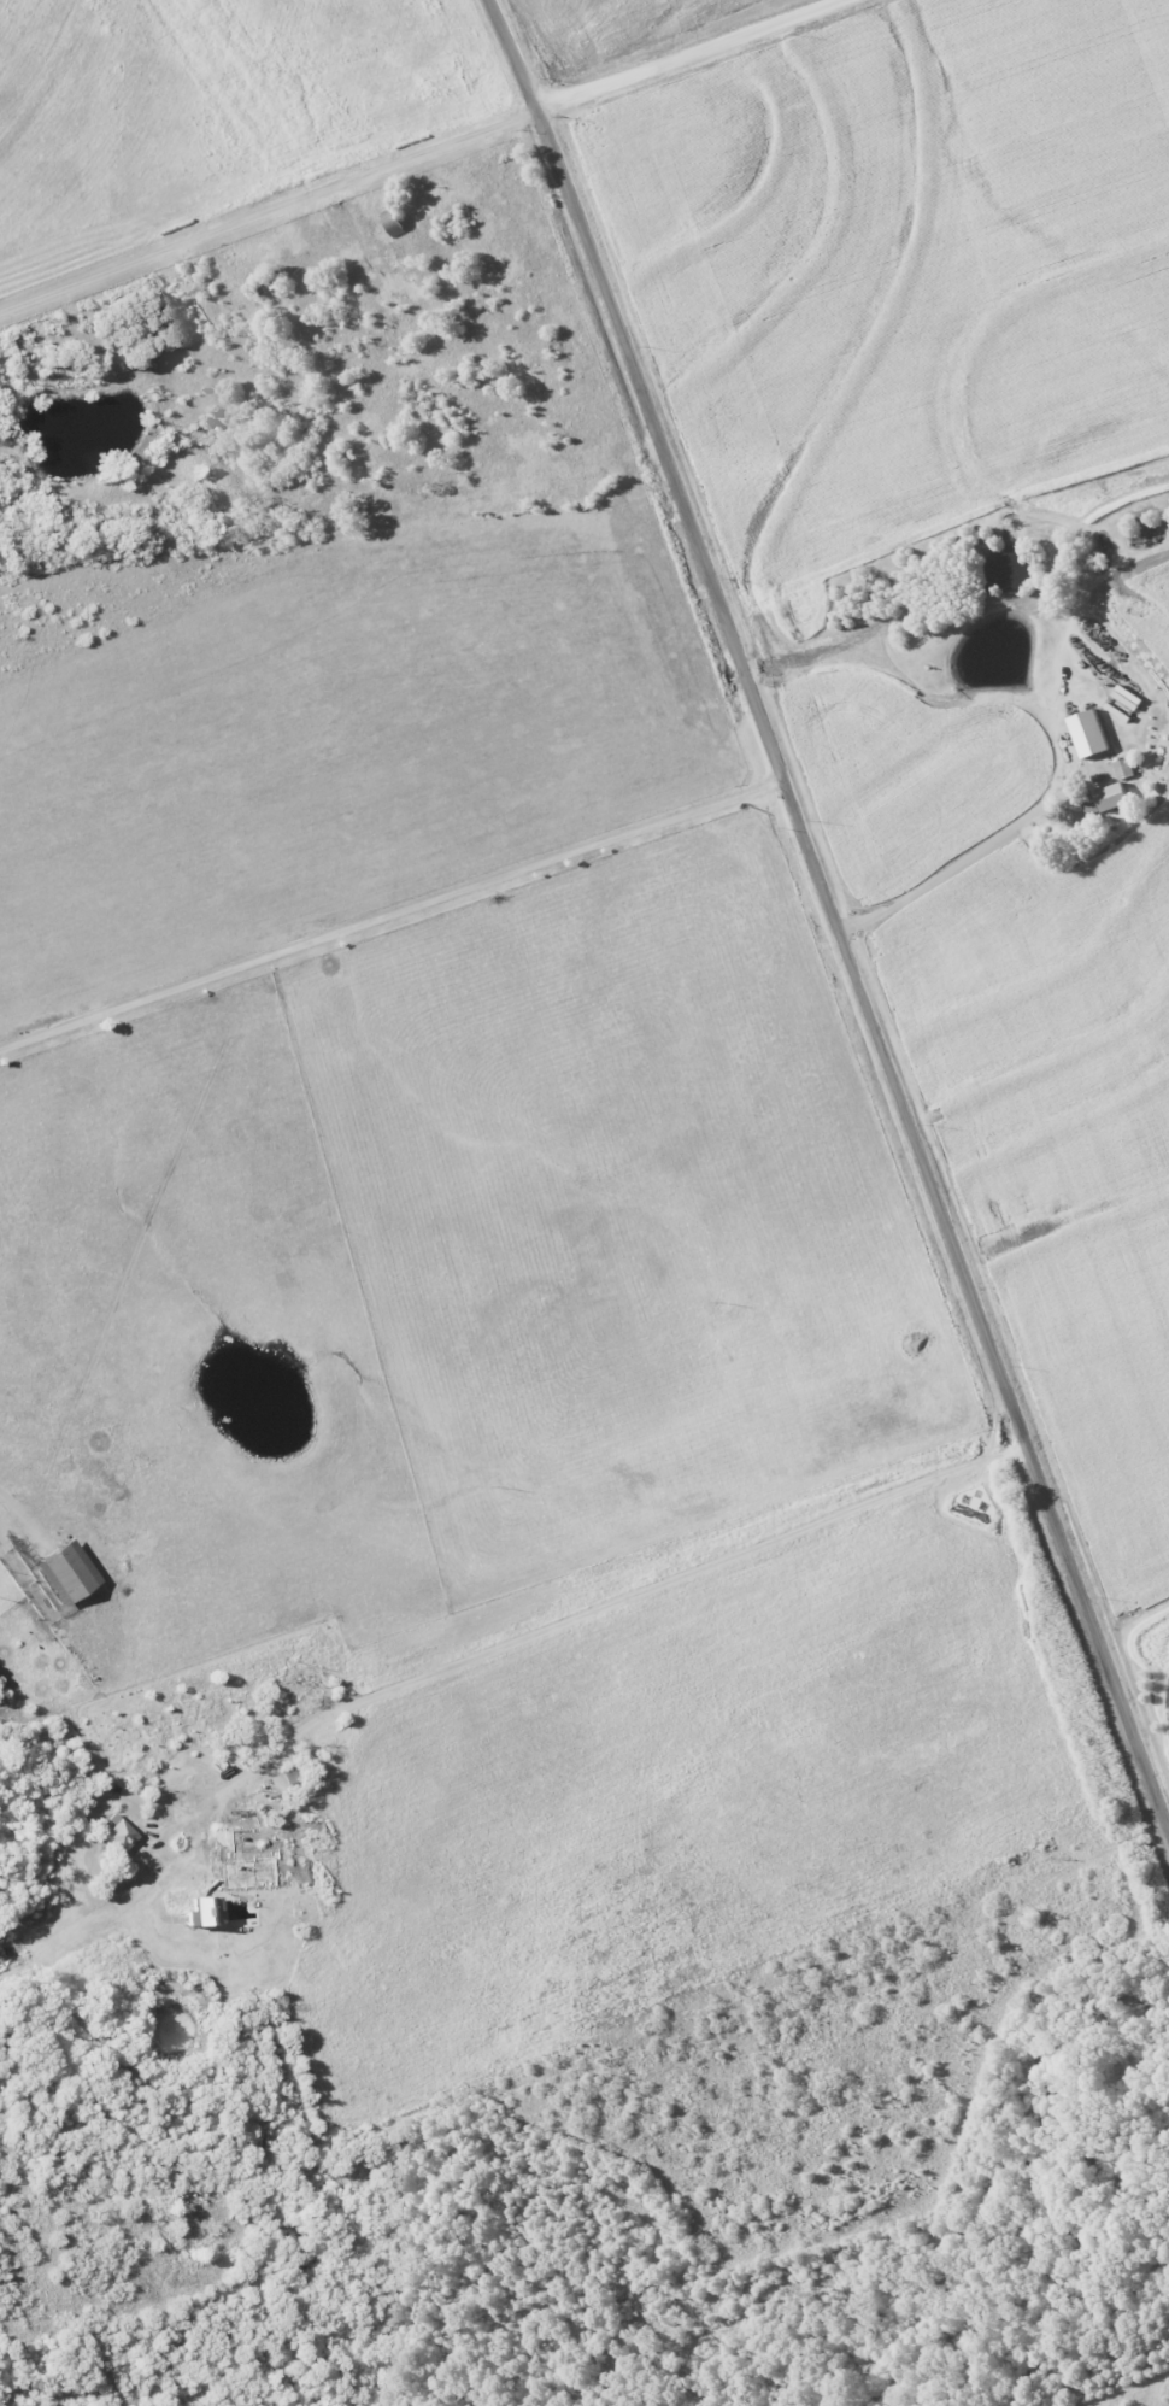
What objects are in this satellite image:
road: (689, 52)
road: (270, 223)
building: (1088, 733)
building: (1124, 768)
building: (1112, 796)
road: (941, 873)
road: (833, 914)
road: (392, 915)
building: (66, 1572)
road: (612, 1606)
building: (117, 1833)
building: (201, 1911)

